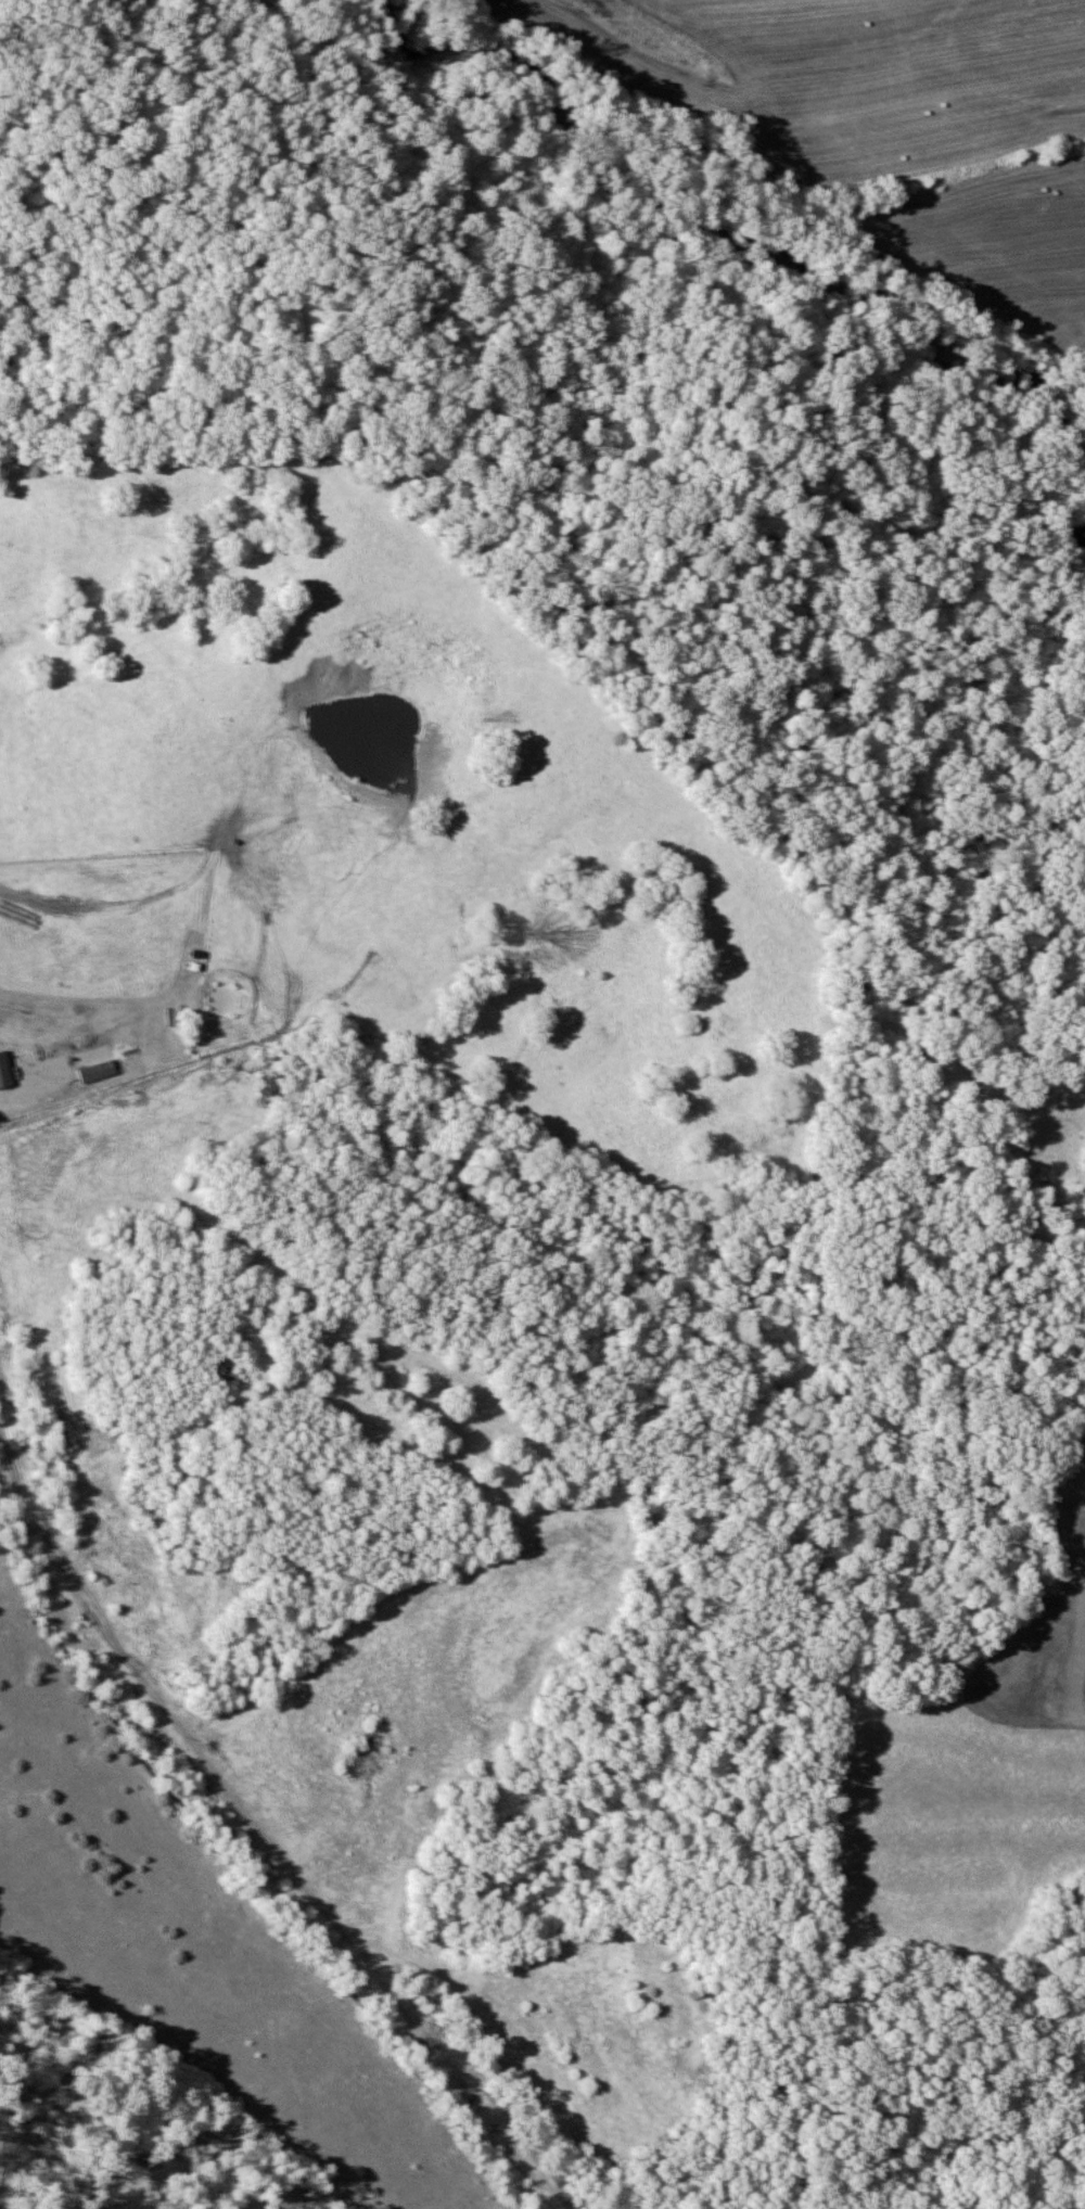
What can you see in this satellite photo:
building: (23, 916)
building: (50, 1061)
building: (4, 1071)
building: (98, 1071)
road: (36, 1082)
building: (5, 1376)
road: (140, 1681)

